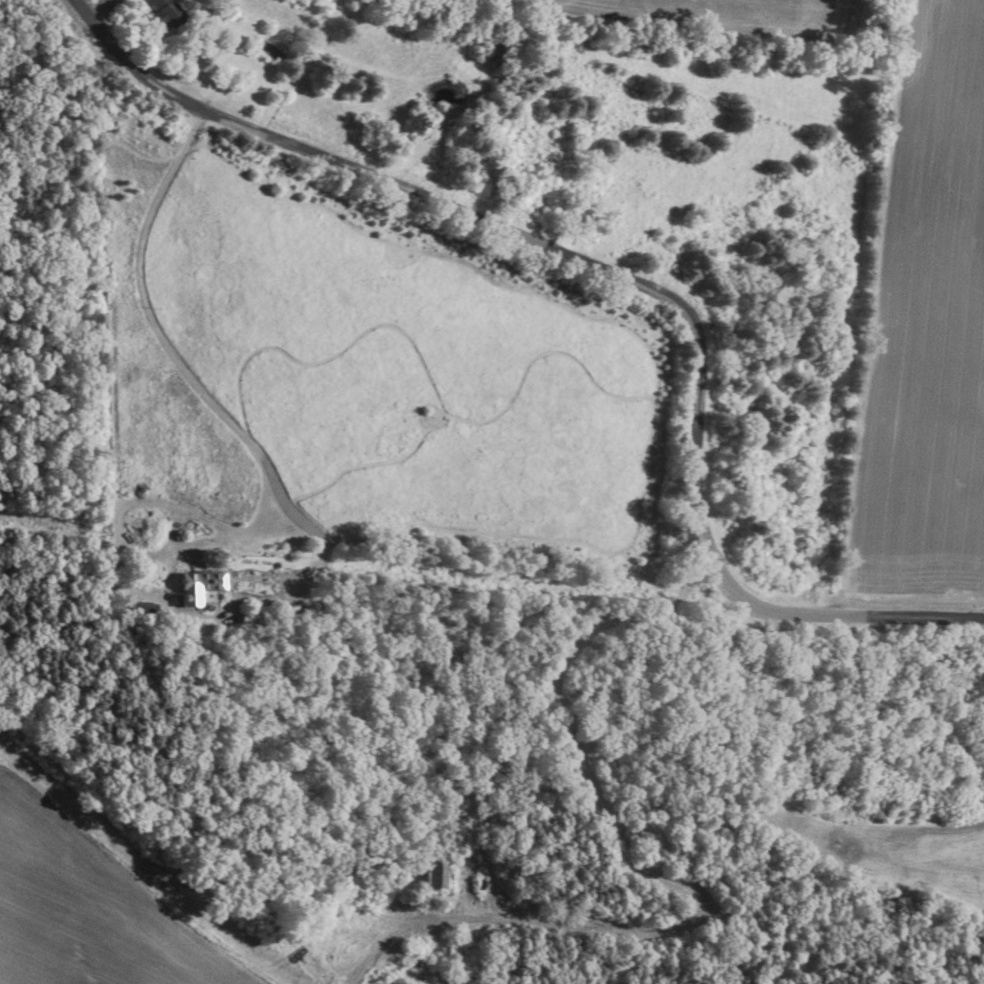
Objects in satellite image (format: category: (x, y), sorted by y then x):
building: (167, 10)
building: (841, 24)
road: (614, 285)
building: (199, 588)
road: (635, 868)
building: (429, 878)

